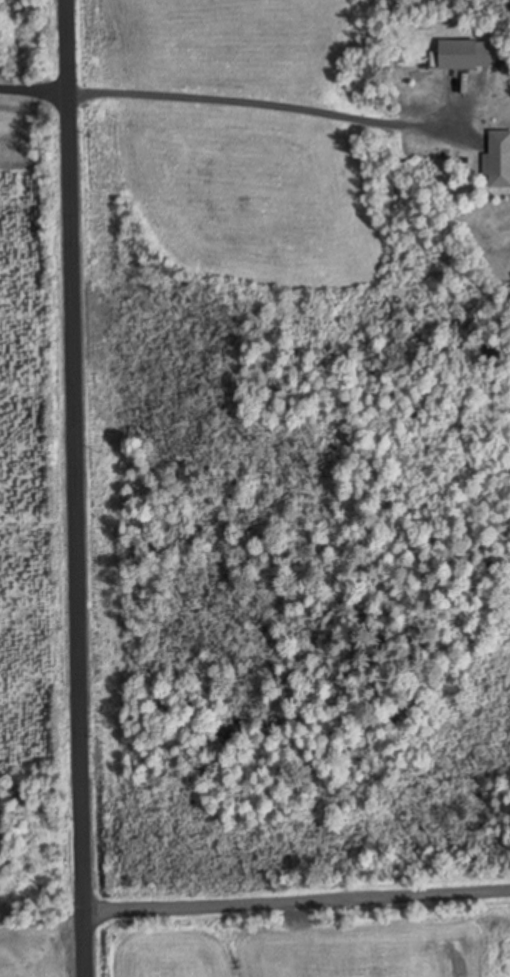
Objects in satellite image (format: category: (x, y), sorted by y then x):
building: (464, 54)
building: (499, 159)
road: (60, 488)
road: (288, 889)

